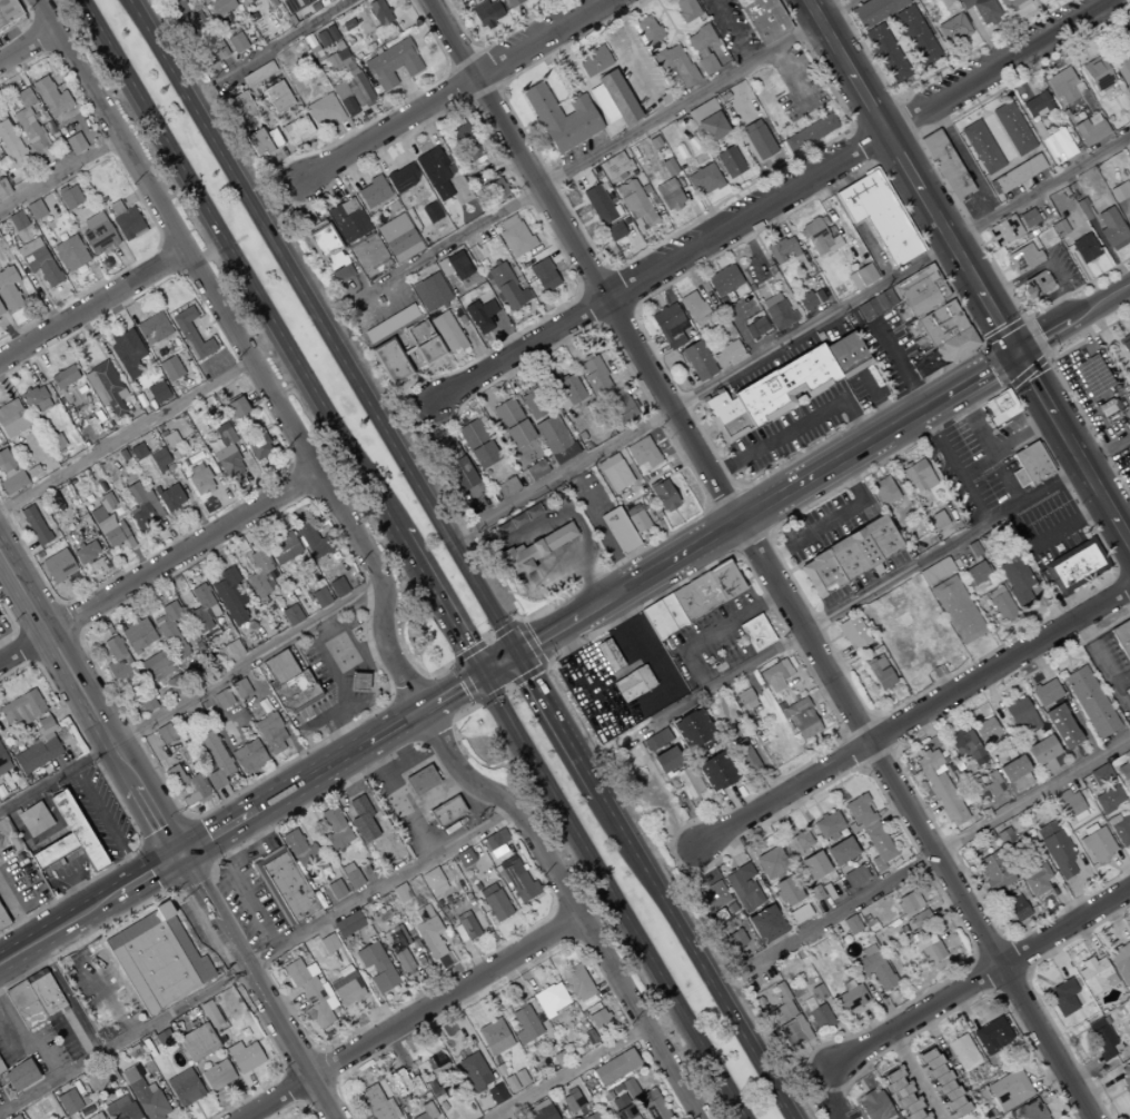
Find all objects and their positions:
building: (320, 0)
parking lot: (837, 0)
building: (323, 1)
road: (346, 1)
building: (513, 2)
building: (295, 4)
road: (397, 4)
road: (583, 4)
building: (1010, 4)
road: (363, 6)
road: (201, 7)
building: (220, 7)
road: (563, 9)
building: (685, 10)
building: (875, 10)
building: (981, 10)
building: (9, 11)
building: (379, 12)
building: (486, 13)
road: (549, 13)
road: (44, 14)
road: (29, 17)
building: (186, 17)
building: (761, 19)
road: (299, 21)
road: (526, 22)
building: (347, 24)
building: (952, 29)
building: (647, 30)
building: (331, 32)
road: (494, 33)
building: (916, 36)
road: (308, 37)
building: (323, 38)
road: (494, 41)
building: (237, 42)
road: (281, 42)
road: (26, 44)
building: (339, 46)
building: (701, 48)
road: (476, 49)
building: (218, 50)
building: (316, 53)
building: (341, 53)
building: (886, 53)
building: (333, 61)
road: (464, 61)
building: (593, 61)
building: (393, 63)
building: (1123, 65)
road: (228, 67)
building: (674, 67)
road: (449, 69)
road: (51, 72)
road: (10, 75)
building: (257, 75)
building: (1097, 75)
road: (403, 80)
road: (262, 83)
road: (73, 85)
building: (1063, 86)
road: (407, 89)
road: (450, 89)
building: (353, 92)
building: (51, 97)
building: (276, 99)
building: (612, 99)
road: (79, 105)
building: (1035, 105)
building: (240, 109)
road: (361, 109)
building: (325, 110)
road: (389, 110)
road: (75, 118)
building: (561, 118)
road: (306, 121)
building: (707, 121)
building: (30, 123)
road: (272, 123)
building: (1012, 129)
building: (459, 131)
building: (1089, 131)
building: (295, 132)
road: (349, 133)
building: (807, 135)
road: (333, 137)
building: (757, 139)
road: (23, 141)
building: (75, 142)
building: (265, 143)
building: (1054, 143)
building: (12, 146)
building: (981, 147)
road: (607, 149)
building: (474, 150)
building: (728, 162)
building: (945, 165)
building: (613, 166)
building: (667, 167)
road: (294, 170)
road: (58, 174)
building: (434, 174)
building: (1018, 174)
road: (909, 176)
building: (402, 178)
building: (704, 179)
building: (3, 188)
building: (61, 189)
building: (1119, 191)
building: (371, 192)
building: (488, 192)
building: (667, 195)
road: (135, 196)
building: (70, 197)
road: (772, 199)
building: (598, 205)
building: (634, 205)
road: (50, 206)
building: (116, 207)
building: (36, 209)
building: (1083, 210)
building: (430, 212)
building: (1129, 214)
building: (878, 215)
building: (1028, 218)
building: (17, 220)
building: (347, 220)
building: (128, 222)
road: (47, 226)
road: (149, 226)
building: (1111, 229)
building: (139, 231)
building: (614, 231)
building: (1002, 231)
building: (96, 232)
building: (514, 235)
building: (31, 236)
building: (12, 237)
building: (59, 237)
building: (819, 237)
building: (398, 238)
building: (28, 247)
road: (155, 247)
building: (1083, 248)
building: (781, 250)
building: (328, 251)
building: (70, 252)
road: (3, 256)
building: (369, 257)
building: (1022, 258)
road: (126, 261)
building: (457, 265)
building: (42, 266)
road: (232, 267)
building: (543, 275)
building: (861, 277)
building: (723, 280)
building: (1035, 285)
road: (20, 287)
building: (505, 287)
building: (9, 288)
building: (919, 290)
building: (429, 293)
road: (43, 299)
building: (810, 300)
road: (91, 304)
building: (873, 305)
building: (692, 306)
building: (1, 309)
building: (777, 313)
building: (479, 316)
road: (1071, 316)
building: (668, 326)
building: (152, 328)
road: (320, 328)
road: (809, 329)
road: (9, 331)
building: (446, 333)
building: (945, 333)
building: (191, 334)
building: (424, 343)
building: (1126, 348)
traffic signals: (1014, 351)
building: (127, 353)
building: (727, 355)
building: (697, 360)
building: (390, 363)
building: (170, 368)
road: (981, 372)
building: (1092, 375)
building: (594, 376)
building: (63, 377)
building: (784, 386)
building: (105, 387)
building: (153, 394)
building: (34, 399)
road: (930, 403)
building: (531, 406)
building: (1002, 406)
building: (237, 407)
building: (617, 408)
building: (11, 419)
building: (512, 423)
road: (796, 425)
building: (551, 434)
road: (126, 435)
building: (476, 444)
road: (1004, 444)
building: (257, 445)
building: (443, 447)
road: (1071, 449)
building: (137, 452)
building: (227, 453)
building: (642, 453)
building: (159, 459)
building: (1029, 465)
road: (953, 467)
building: (535, 469)
building: (613, 473)
building: (9, 474)
building: (459, 474)
building: (916, 476)
building: (198, 478)
building: (506, 487)
building: (883, 491)
building: (663, 496)
building: (170, 497)
building: (141, 505)
building: (635, 518)
road: (742, 518)
road: (829, 519)
building: (935, 521)
building: (33, 525)
building: (109, 525)
building: (618, 531)
building: (310, 542)
building: (282, 548)
building: (535, 549)
building: (86, 552)
building: (849, 556)
road: (759, 558)
building: (57, 566)
building: (1076, 568)
building: (934, 571)
road: (159, 573)
building: (975, 573)
building: (259, 574)
road: (380, 580)
road: (895, 581)
building: (1015, 581)
building: (337, 587)
building: (230, 596)
building: (319, 597)
building: (691, 600)
building: (1001, 603)
road: (439, 605)
building: (201, 607)
building: (956, 610)
building: (290, 615)
building: (171, 630)
road: (708, 631)
building: (852, 632)
building: (755, 633)
building: (137, 635)
building: (1122, 638)
road: (543, 641)
building: (607, 655)
building: (116, 657)
traffic signals: (513, 660)
building: (152, 667)
road: (497, 670)
road: (616, 673)
building: (880, 673)
building: (774, 675)
traffic signals: (482, 680)
building: (361, 682)
gas station: (361, 682)
building: (633, 683)
building: (172, 685)
building: (239, 689)
building: (1044, 693)
road: (190, 695)
road: (452, 696)
building: (222, 699)
building: (745, 700)
building: (145, 702)
building: (1089, 702)
road: (90, 705)
building: (21, 709)
building: (1020, 716)
building: (801, 720)
road: (914, 720)
road: (552, 726)
building: (1061, 726)
building: (692, 730)
building: (984, 730)
road: (394, 731)
building: (165, 733)
building: (269, 733)
building: (964, 747)
building: (38, 751)
building: (662, 751)
building: (1043, 754)
building: (744, 755)
building: (248, 756)
building: (215, 760)
building: (2, 764)
building: (715, 772)
building: (1123, 773)
building: (1015, 774)
building: (1099, 774)
building: (420, 780)
building: (688, 782)
road: (307, 783)
building: (185, 785)
building: (985, 786)
building: (940, 789)
building: (1108, 799)
building: (1073, 805)
building: (445, 812)
building: (361, 820)
building: (827, 824)
road: (106, 825)
building: (868, 826)
building: (335, 829)
building: (1120, 829)
building: (68, 836)
building: (1004, 836)
road: (214, 839)
building: (496, 839)
building: (799, 843)
building: (1097, 843)
road: (953, 845)
building: (299, 850)
building: (1055, 850)
building: (840, 851)
building: (463, 858)
traffic signals: (179, 860)
building: (770, 862)
building: (813, 865)
building: (992, 873)
road: (234, 875)
building: (350, 875)
building: (854, 877)
road: (149, 878)
building: (1034, 879)
building: (433, 881)
building: (517, 881)
building: (286, 884)
building: (743, 887)
building: (335, 889)
building: (785, 891)
building: (712, 898)
road: (612, 899)
building: (494, 902)
building: (1017, 908)
building: (911, 910)
building: (799, 914)
road: (17, 919)
building: (2, 921)
building: (347, 924)
building: (765, 924)
building: (851, 924)
building: (464, 928)
road: (59, 932)
building: (428, 932)
building: (397, 937)
building: (327, 943)
building: (739, 943)
building: (929, 950)
road: (692, 955)
road: (255, 958)
building: (157, 959)
building: (404, 962)
building: (1121, 962)
building: (376, 965)
road: (88, 967)
building: (875, 970)
building: (1094, 976)
road: (980, 979)
building: (577, 983)
road: (257, 989)
building: (346, 989)
building: (310, 992)
building: (850, 997)
building: (33, 999)
building: (551, 999)
building: (1065, 1000)
building: (820, 1017)
road: (416, 1019)
building: (597, 1019)
building: (787, 1019)
building: (525, 1024)
building: (991, 1036)
road: (7, 1037)
building: (494, 1037)
building: (1100, 1038)
building: (197, 1042)
building: (962, 1052)
building: (246, 1058)
building: (435, 1062)
building: (615, 1068)
road: (568, 1071)
building: (473, 1072)
road: (918, 1075)
building: (18, 1076)
building: (216, 1076)
building: (100, 1077)
building: (1124, 1078)
building: (942, 1082)
building: (400, 1085)
building: (184, 1088)
building: (1008, 1090)
road: (833, 1093)
building: (145, 1095)
building: (495, 1095)
building: (902, 1095)
building: (644, 1100)
building: (68, 1101)
building: (377, 1103)
building: (873, 1105)
building: (621, 1108)
building: (120, 1109)
building: (1029, 1110)
building: (539, 1111)
building: (423, 1113)
building: (96, 1116)
building: (591, 1116)
building: (18, 1117)

